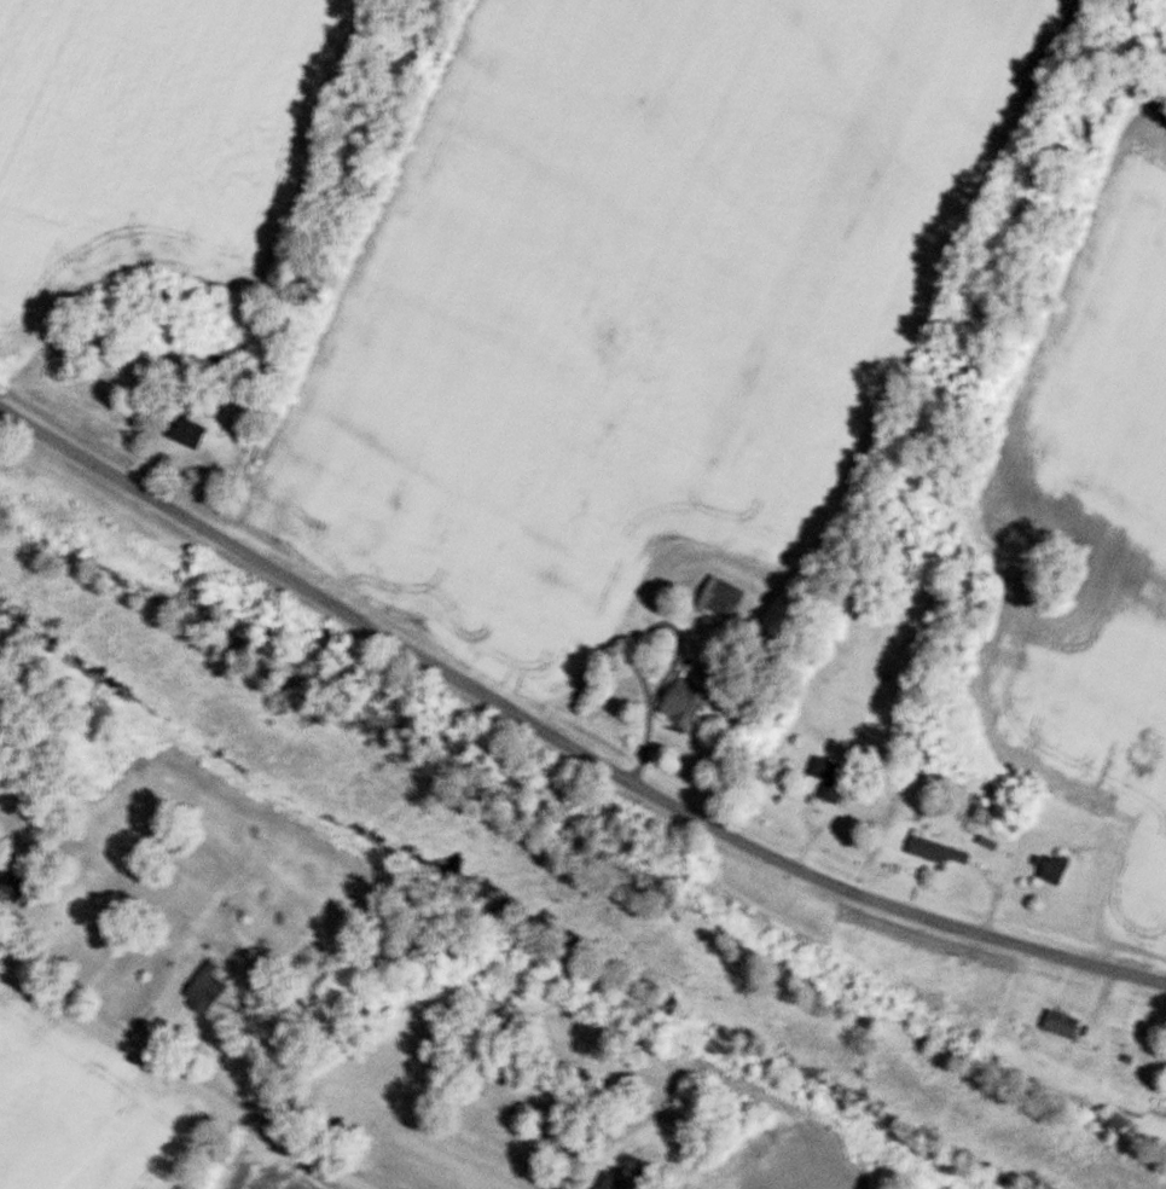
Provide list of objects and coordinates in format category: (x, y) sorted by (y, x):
building: (193, 433)
building: (718, 593)
building: (679, 703)
road: (561, 742)
building: (826, 778)
building: (980, 813)
building: (932, 849)
building: (1051, 866)
building: (208, 987)
building: (1056, 1023)
building: (1165, 1061)
road: (185, 1084)
building: (605, 1181)

